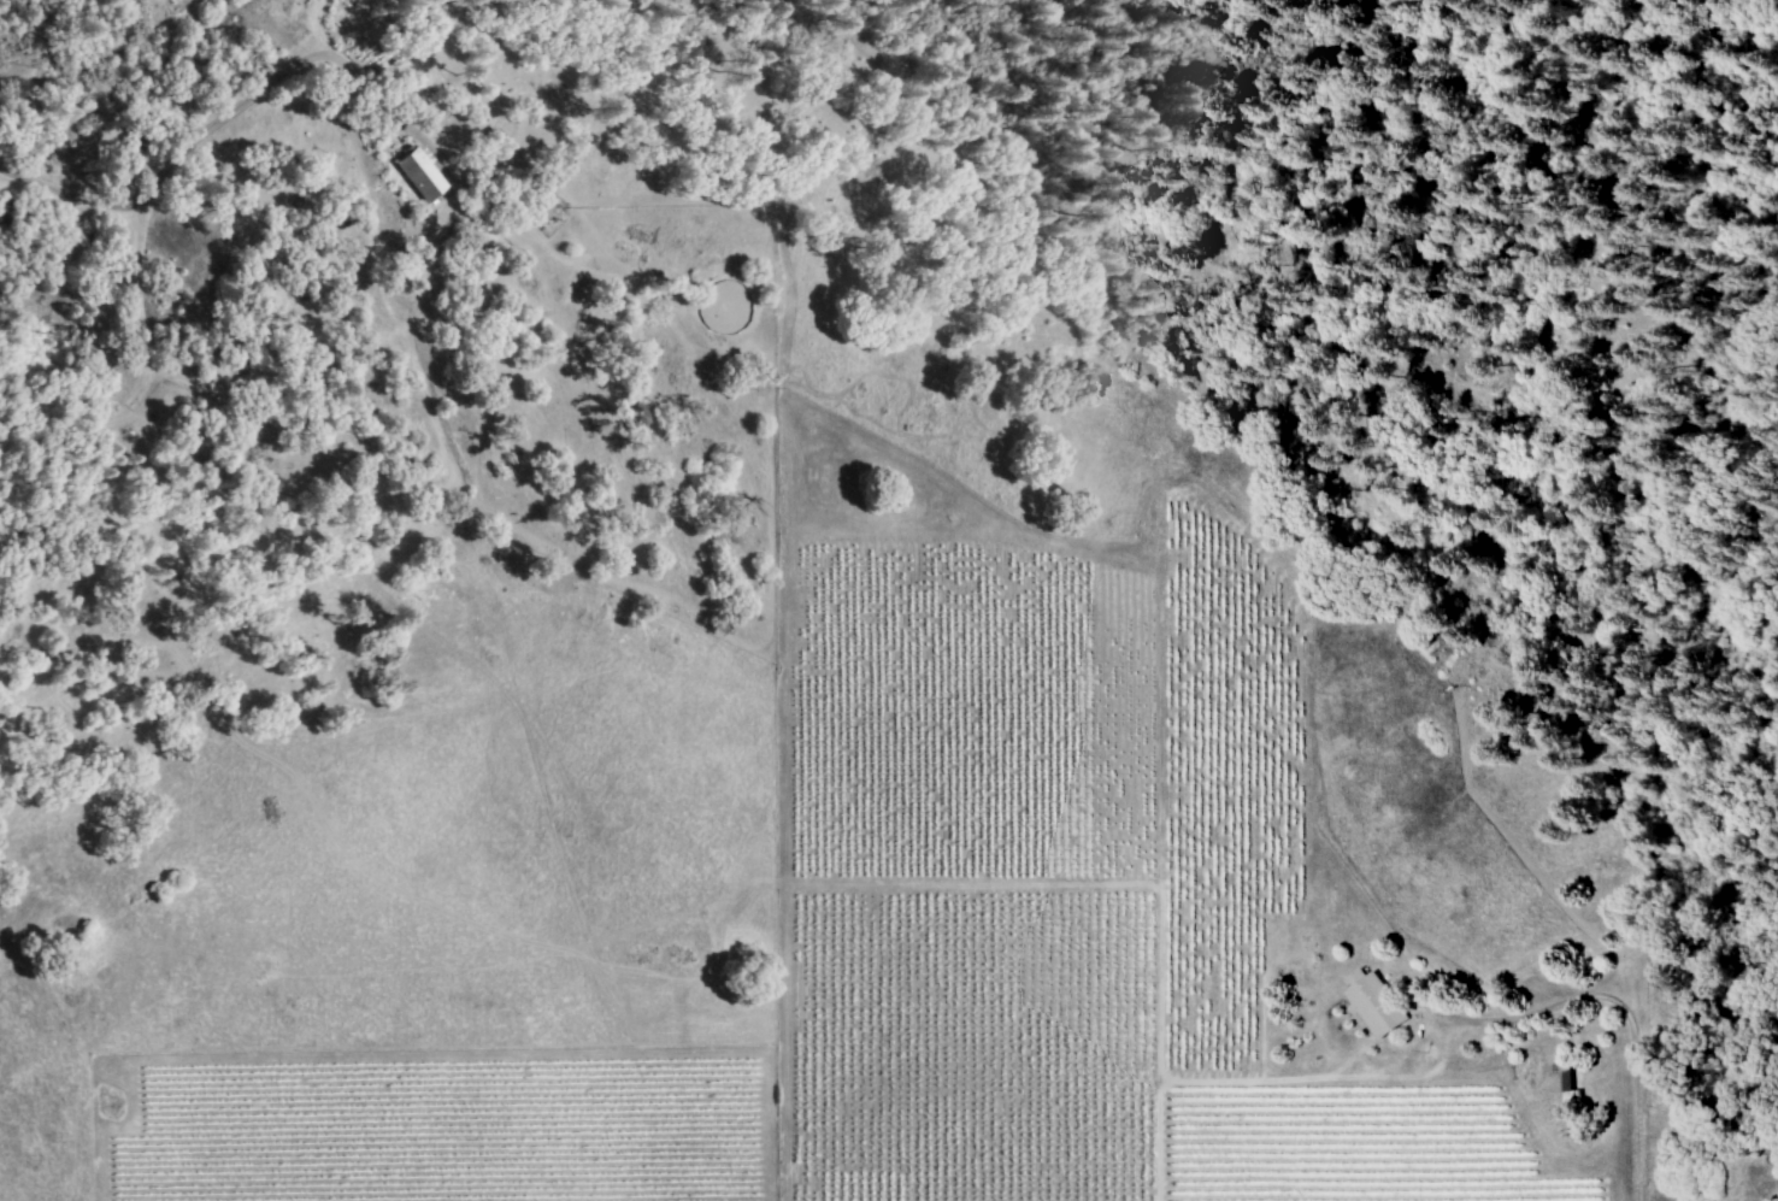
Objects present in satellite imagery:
building: (418, 175)
building: (1376, 1005)
road: (1624, 1008)
building: (1570, 1088)

